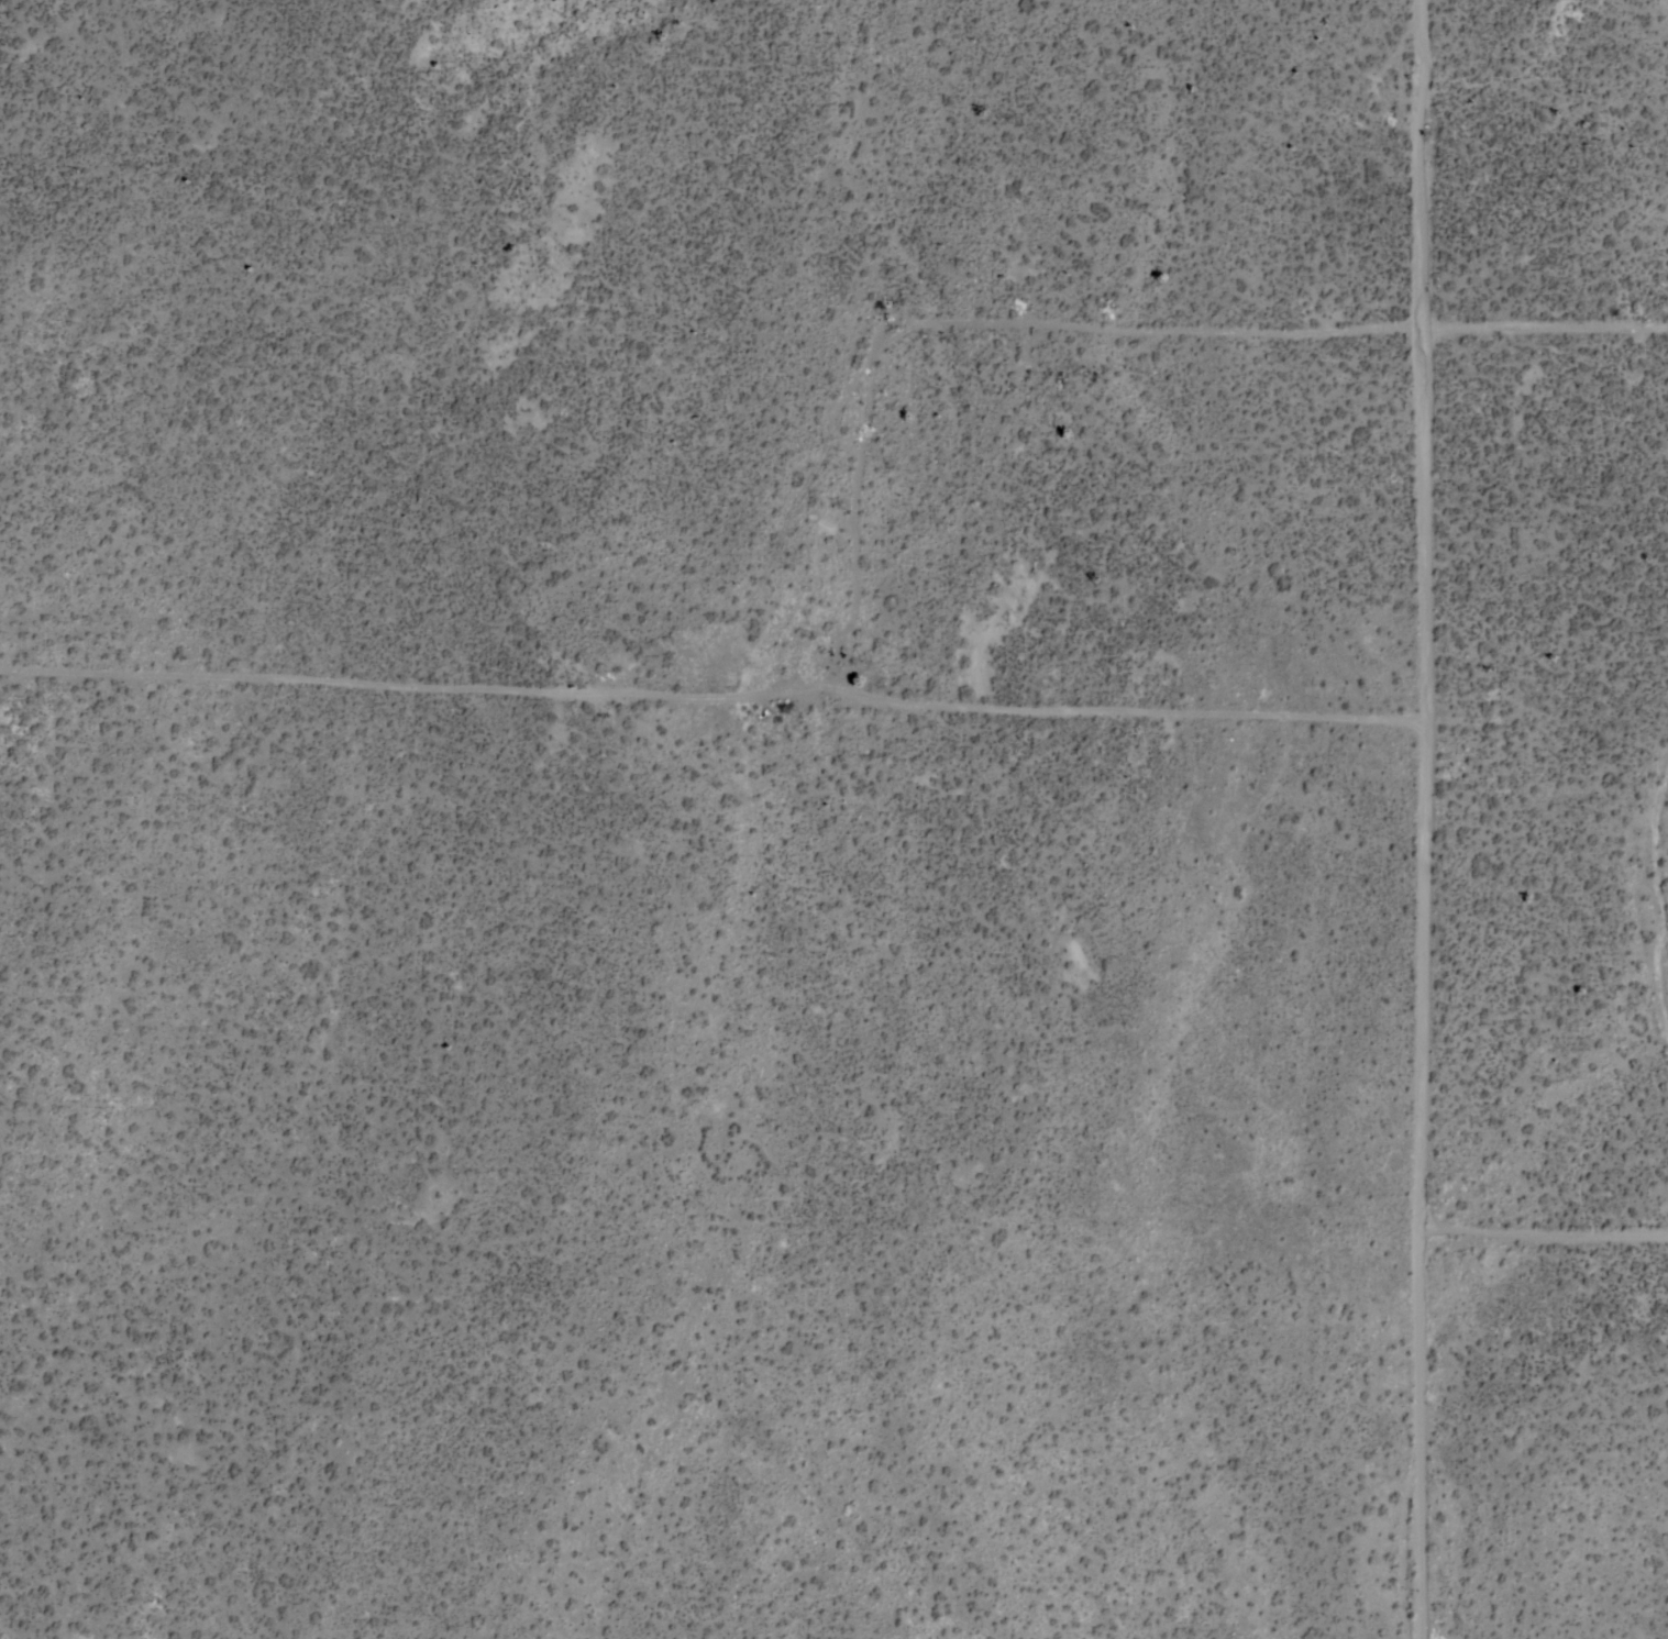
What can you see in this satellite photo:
road: (1147, 333)
road: (862, 512)
road: (1436, 819)
road: (1553, 1237)

